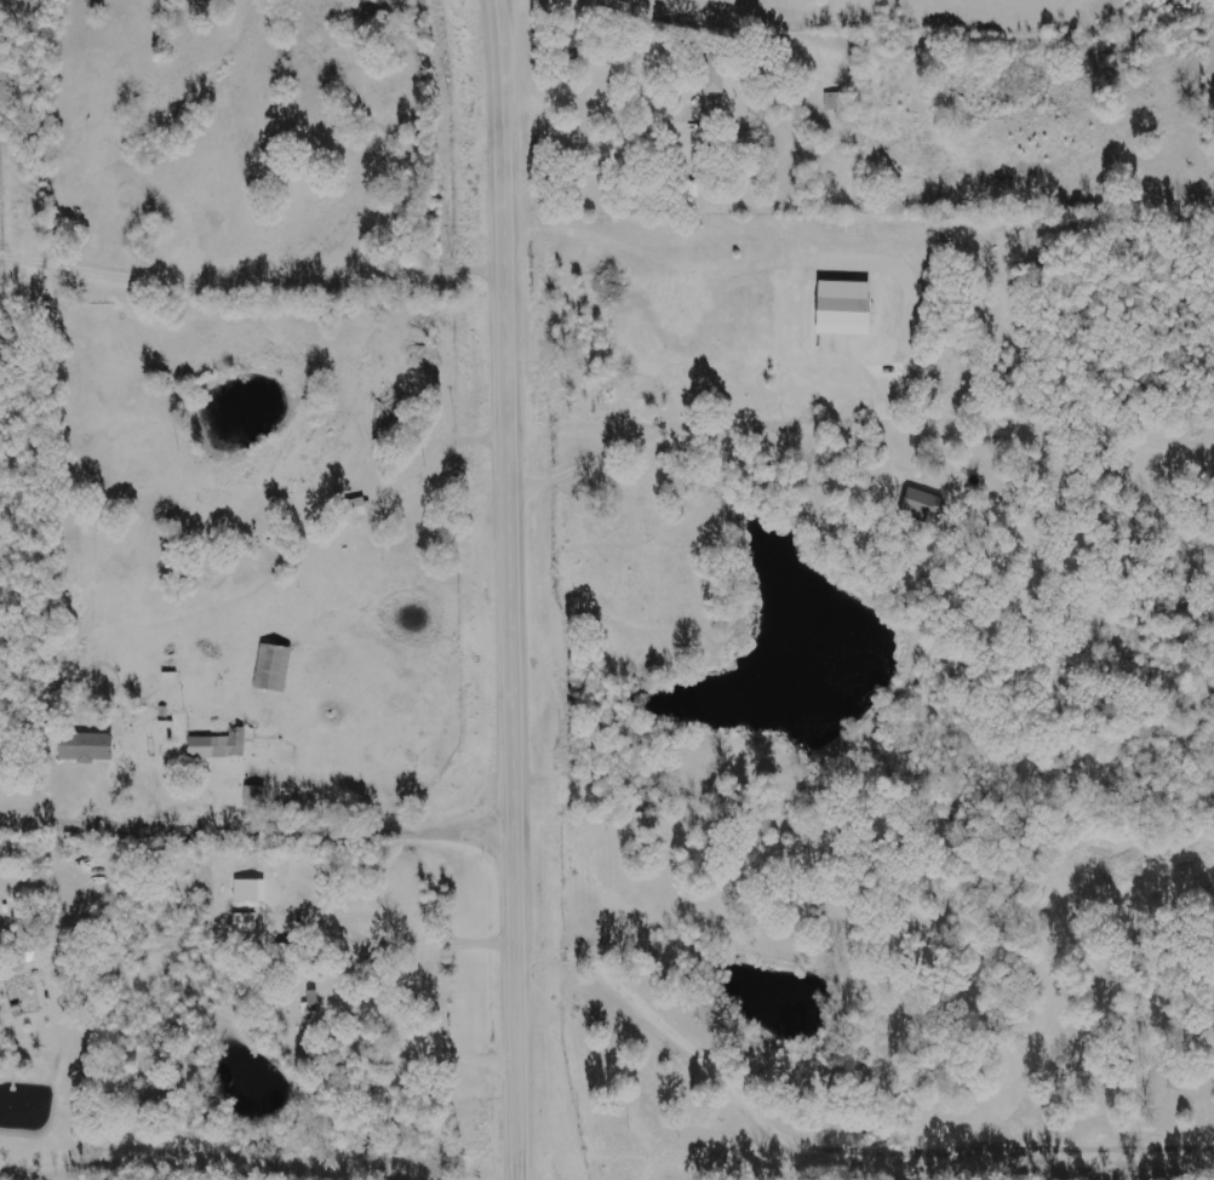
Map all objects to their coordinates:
building: (712, 85)
building: (836, 101)
park: (1212, 136)
building: (842, 308)
park: (1064, 313)
building: (921, 504)
building: (355, 508)
road: (510, 589)
building: (271, 668)
building: (219, 745)
building: (84, 747)
road: (258, 835)
building: (250, 890)
road: (744, 1047)

